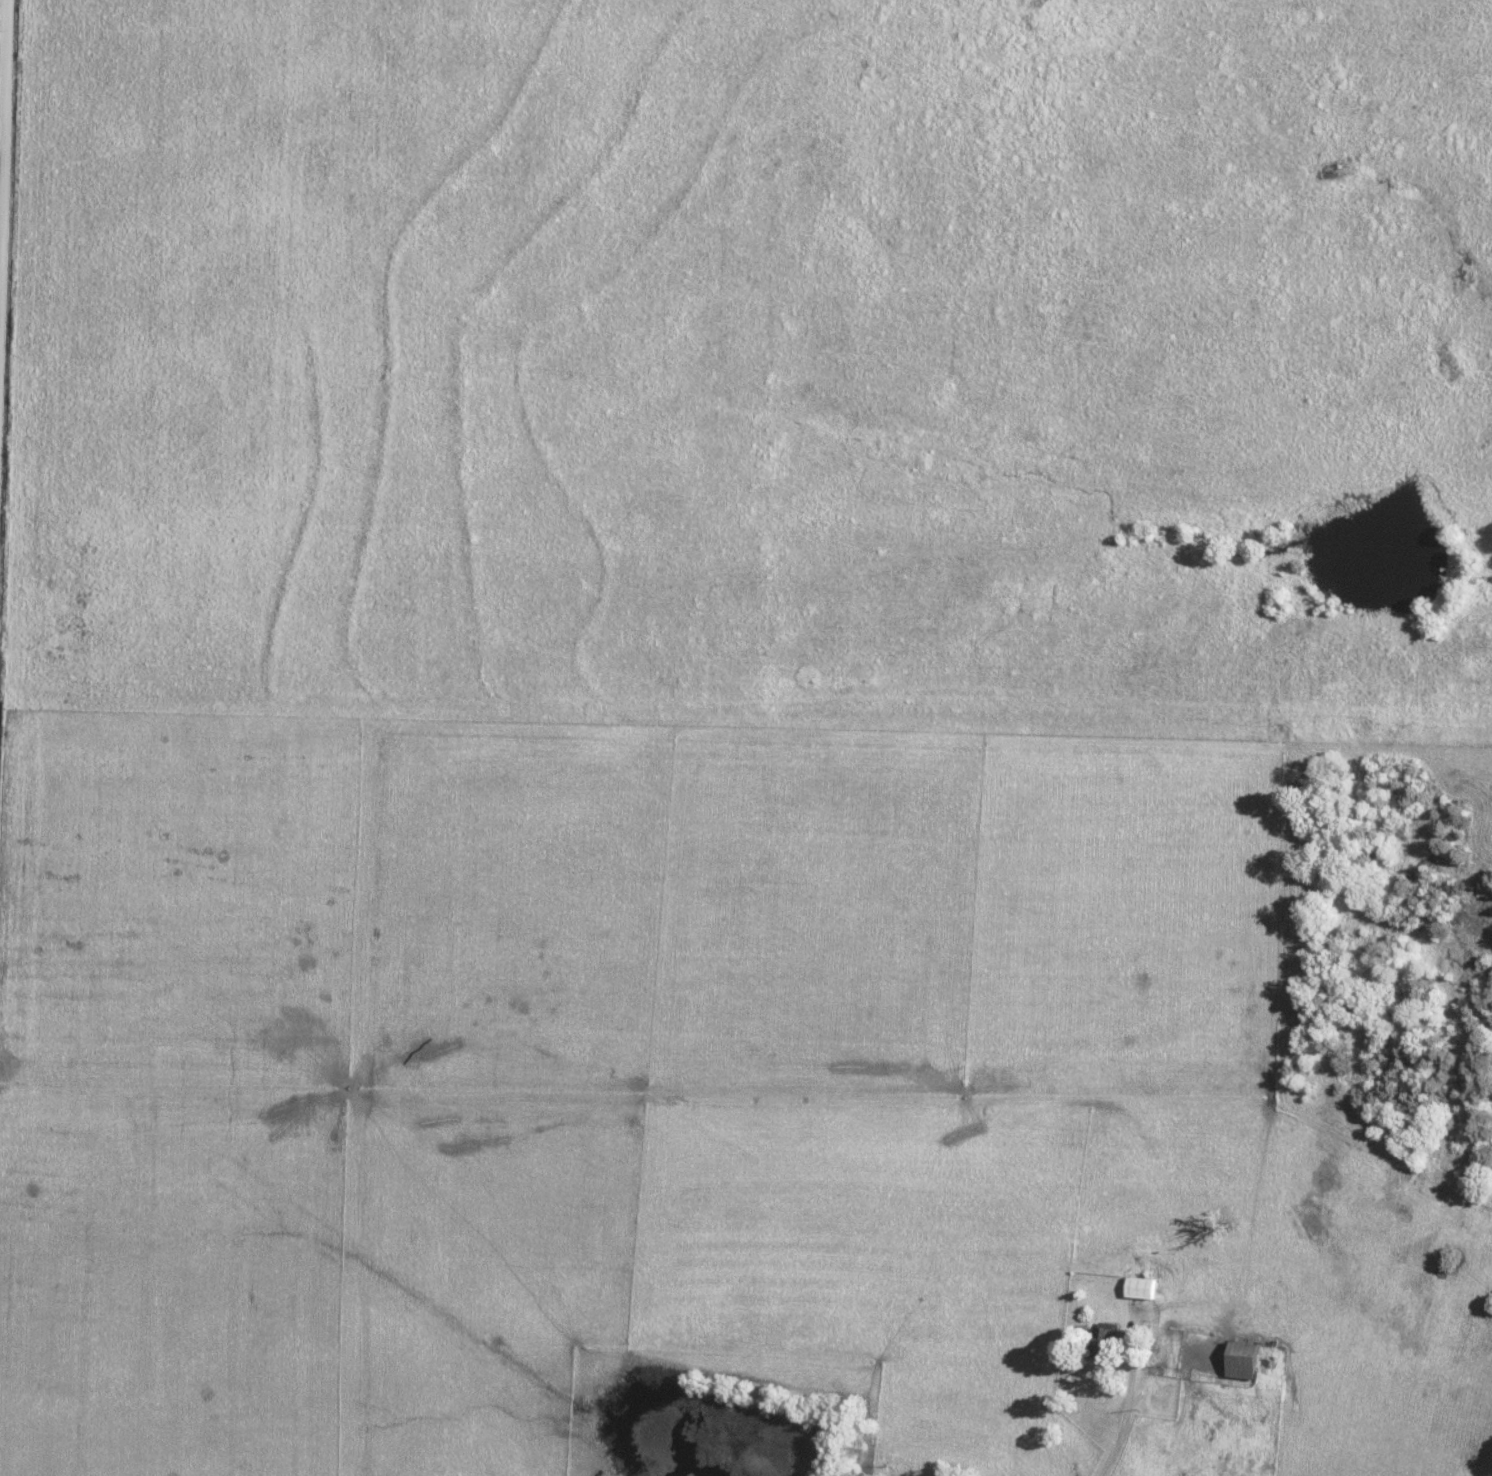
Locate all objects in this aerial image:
road: (5, 168)
road: (1108, 1151)
building: (1140, 1288)
building: (1103, 1342)
building: (1241, 1360)
road: (1177, 1428)

